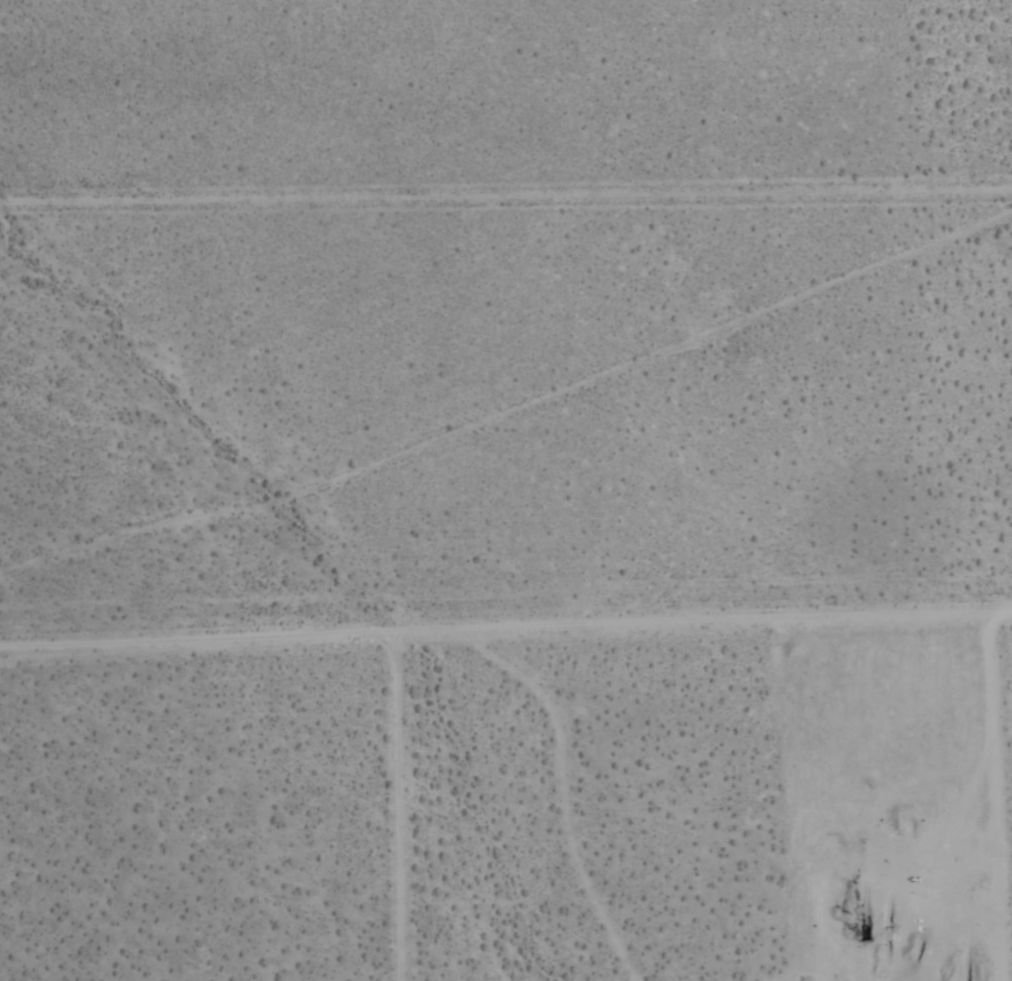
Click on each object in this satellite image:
road: (505, 629)

